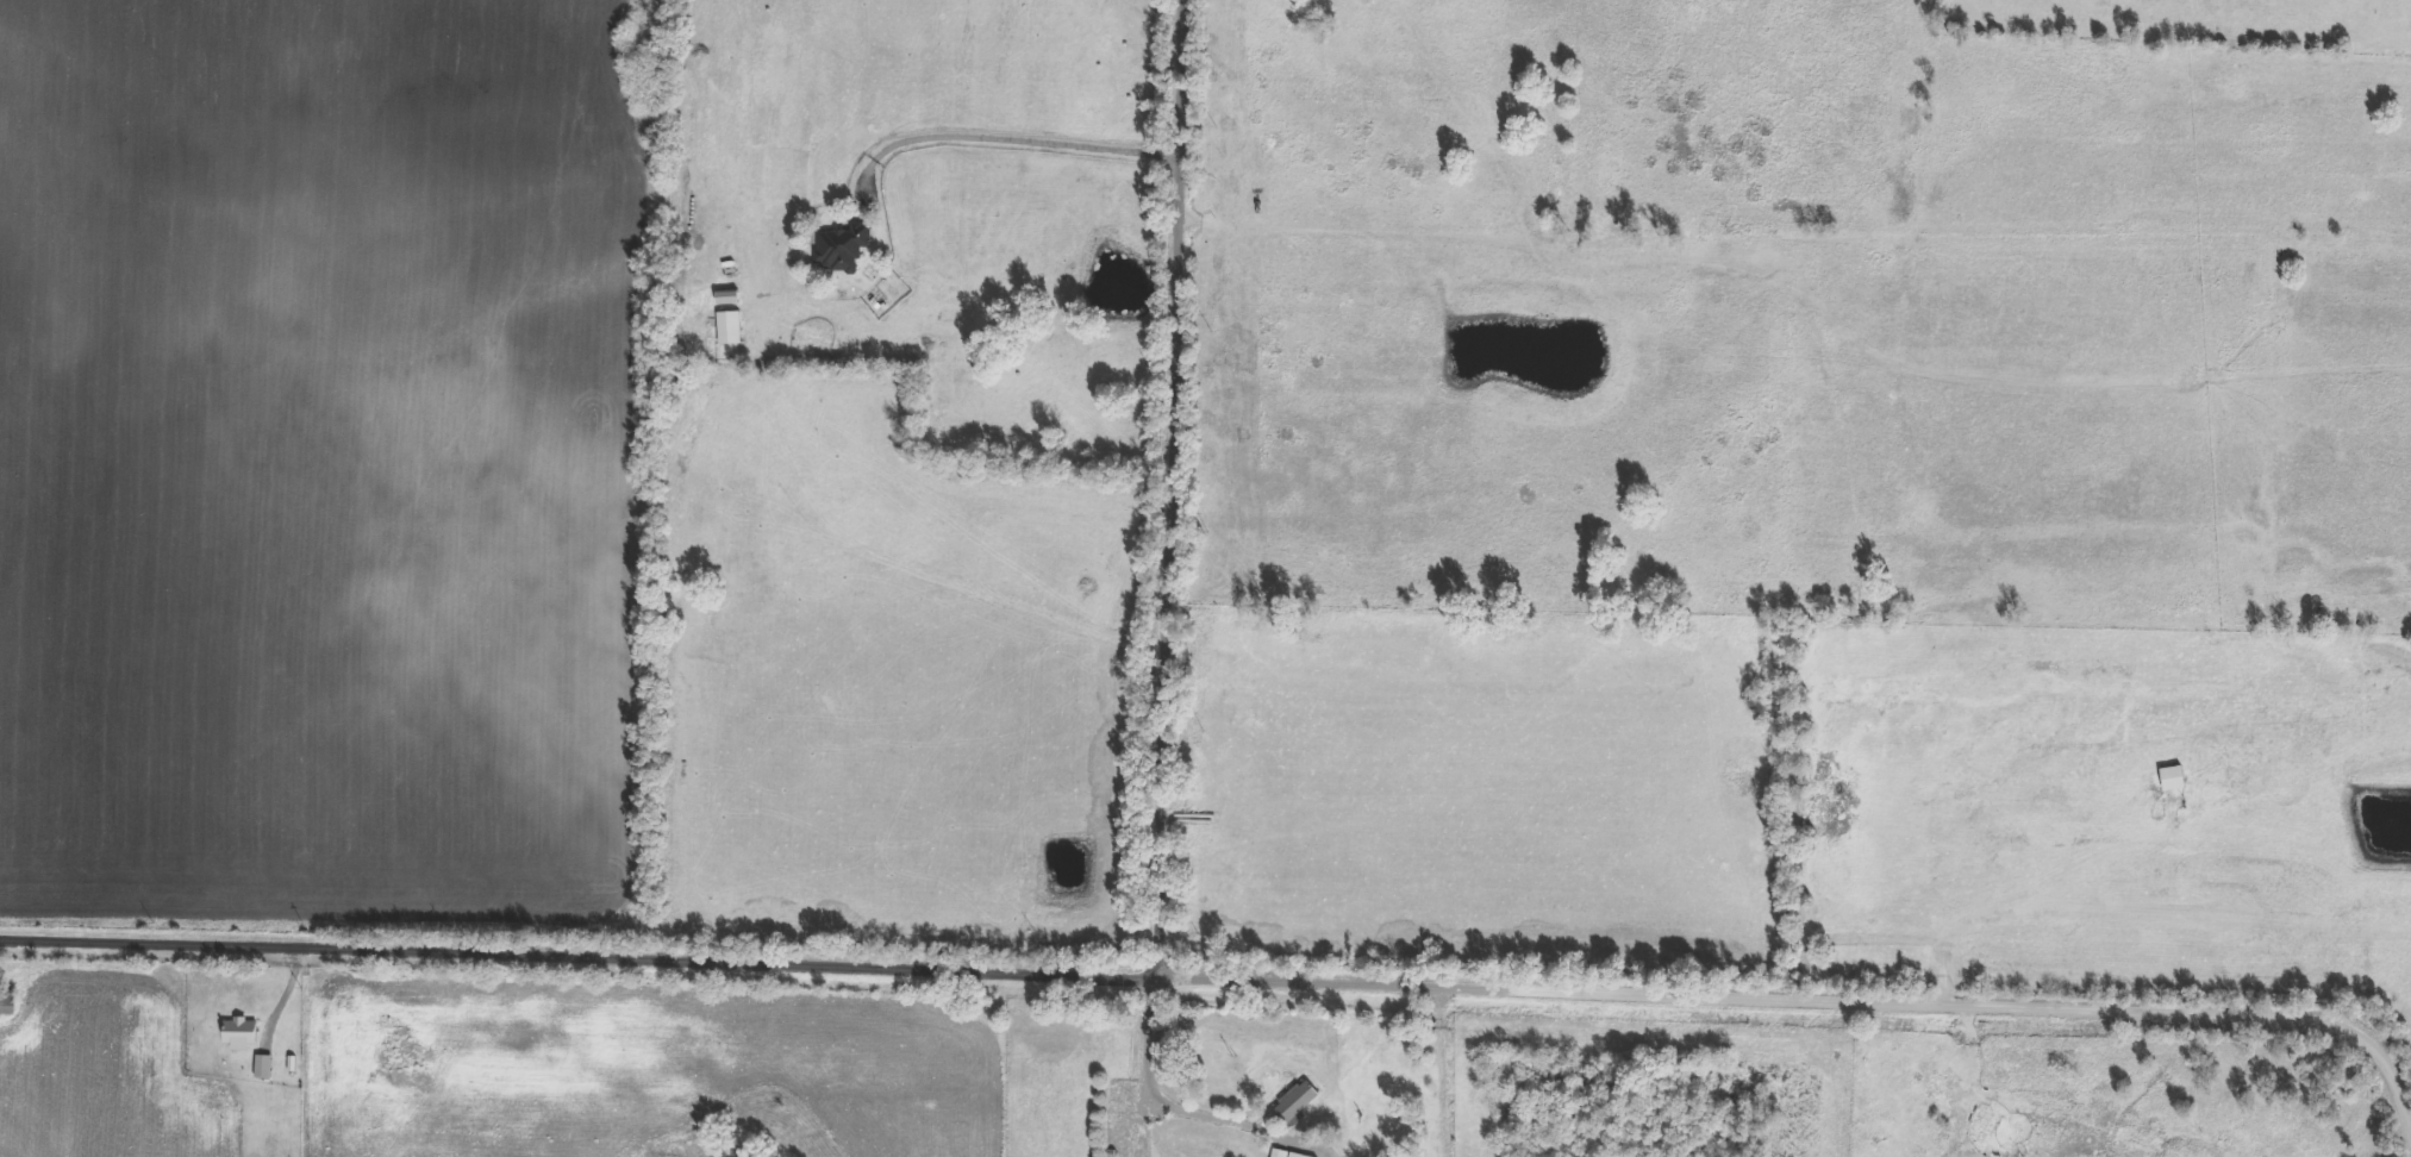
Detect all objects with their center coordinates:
road: (1016, 140)
building: (842, 249)
building: (729, 300)
building: (729, 329)
road: (1170, 486)
building: (2173, 780)
road: (313, 940)
road: (893, 959)
road: (1811, 999)
building: (6, 1002)
building: (242, 1036)
building: (266, 1069)
road: (1444, 1069)
road: (1164, 1099)
building: (1295, 1103)
road: (1311, 1143)
building: (1285, 1153)

